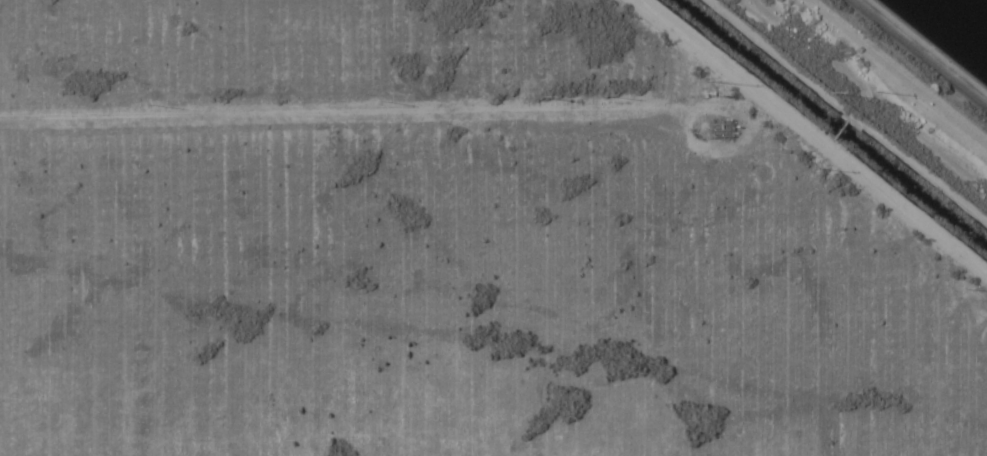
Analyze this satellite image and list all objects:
road: (919, 53)

